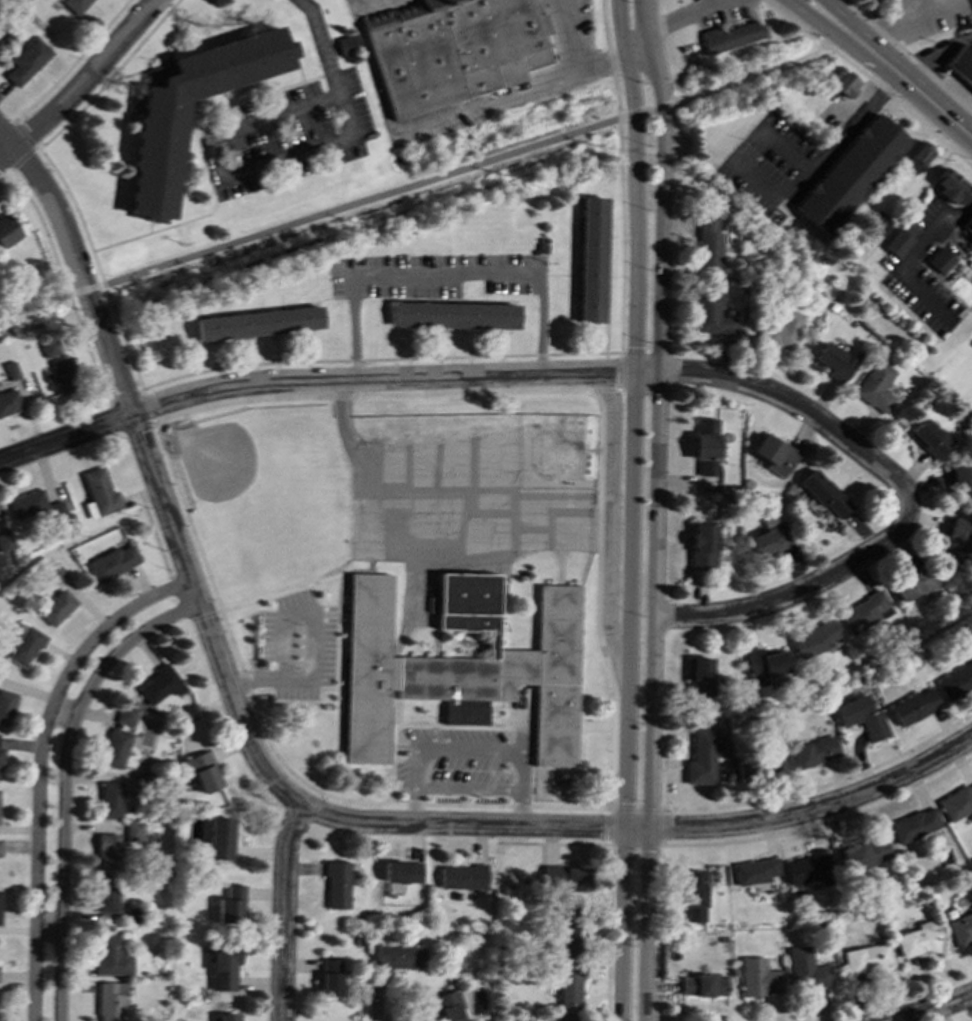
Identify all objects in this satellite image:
building: (74, 5)
park: (861, 6)
road: (684, 15)
road: (835, 17)
road: (816, 18)
road: (883, 23)
building: (730, 36)
road: (324, 45)
building: (345, 45)
road: (638, 45)
building: (452, 49)
road: (936, 54)
road: (909, 55)
road: (610, 58)
building: (26, 60)
road: (568, 62)
building: (961, 63)
road: (370, 64)
road: (757, 73)
road: (870, 80)
road: (82, 83)
building: (844, 84)
road: (911, 86)
road: (484, 107)
road: (831, 147)
building: (155, 156)
building: (917, 156)
building: (849, 174)
road: (57, 175)
road: (223, 175)
building: (951, 186)
road: (331, 212)
building: (969, 221)
building: (875, 222)
building: (7, 230)
road: (621, 236)
building: (708, 241)
building: (895, 242)
building: (591, 259)
road: (907, 259)
building: (938, 260)
road: (445, 273)
road: (62, 278)
building: (971, 301)
building: (710, 314)
building: (453, 315)
building: (256, 323)
building: (780, 327)
building: (48, 347)
road: (376, 359)
building: (835, 360)
building: (10, 370)
road: (622, 370)
building: (62, 375)
road: (474, 377)
building: (875, 386)
road: (617, 387)
road: (603, 388)
road: (123, 395)
building: (8, 401)
road: (148, 421)
building: (928, 437)
building: (704, 445)
building: (772, 454)
building: (962, 479)
building: (98, 492)
building: (822, 492)
building: (35, 506)
road: (631, 509)
road: (656, 509)
road: (610, 520)
building: (767, 537)
building: (955, 540)
building: (5, 541)
building: (701, 545)
building: (111, 562)
building: (53, 572)
building: (914, 582)
road: (793, 594)
building: (55, 606)
building: (864, 611)
road: (291, 612)
building: (812, 638)
building: (24, 646)
building: (460, 665)
building: (762, 665)
building: (699, 676)
building: (955, 680)
building: (159, 684)
building: (6, 705)
building: (911, 706)
building: (125, 714)
building: (859, 716)
building: (115, 748)
road: (472, 748)
building: (812, 751)
building: (0, 753)
building: (700, 757)
building: (769, 762)
building: (740, 765)
road: (40, 766)
road: (662, 770)
building: (203, 772)
building: (141, 779)
road: (65, 782)
road: (821, 784)
road: (280, 787)
building: (111, 799)
building: (955, 801)
road: (634, 809)
building: (912, 824)
building: (133, 830)
building: (220, 838)
building: (0, 846)
building: (106, 850)
building: (862, 853)
building: (807, 868)
building: (754, 870)
building: (401, 871)
building: (462, 876)
building: (564, 877)
building: (337, 885)
building: (106, 894)
building: (694, 894)
building: (0, 905)
building: (230, 905)
road: (283, 910)
building: (961, 929)
building: (566, 931)
building: (916, 939)
building: (110, 956)
building: (398, 956)
building: (865, 958)
building: (223, 966)
building: (805, 968)
building: (331, 976)
building: (757, 977)
building: (703, 984)
building: (569, 985)
building: (111, 1001)
building: (448, 1005)
road: (933, 1009)
building: (226, 1017)
building: (562, 1019)

